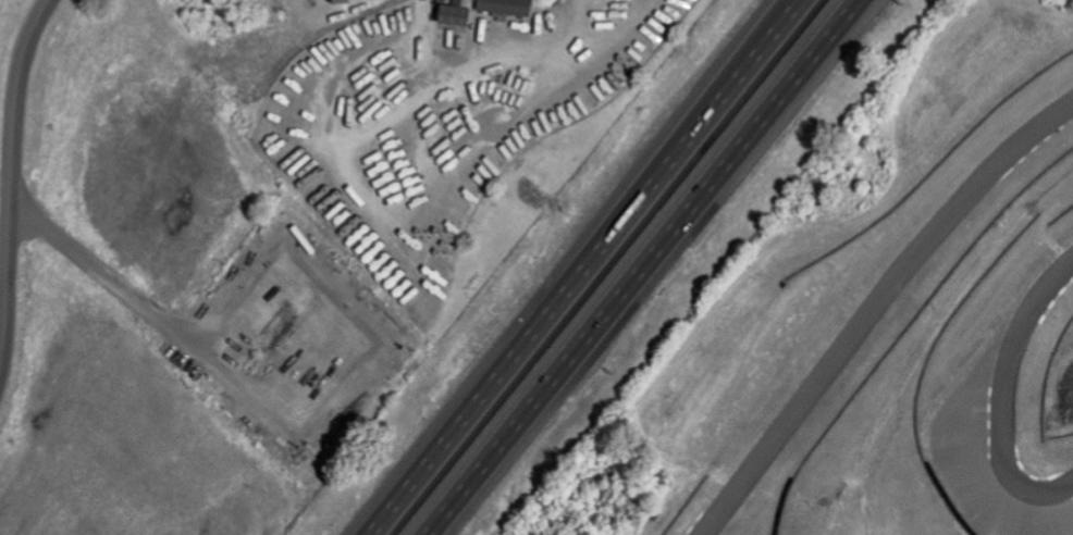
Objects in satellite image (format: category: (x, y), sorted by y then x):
building: (334, 0)
building: (502, 5)
building: (452, 12)
road: (419, 24)
road: (490, 51)
road: (416, 72)
road: (403, 102)
road: (319, 109)
road: (507, 112)
road: (11, 178)
road: (5, 197)
road: (397, 238)
road: (571, 266)
road: (658, 267)
road: (3, 295)
raceway: (872, 307)
raceway: (991, 389)
road: (211, 409)
road: (303, 435)

